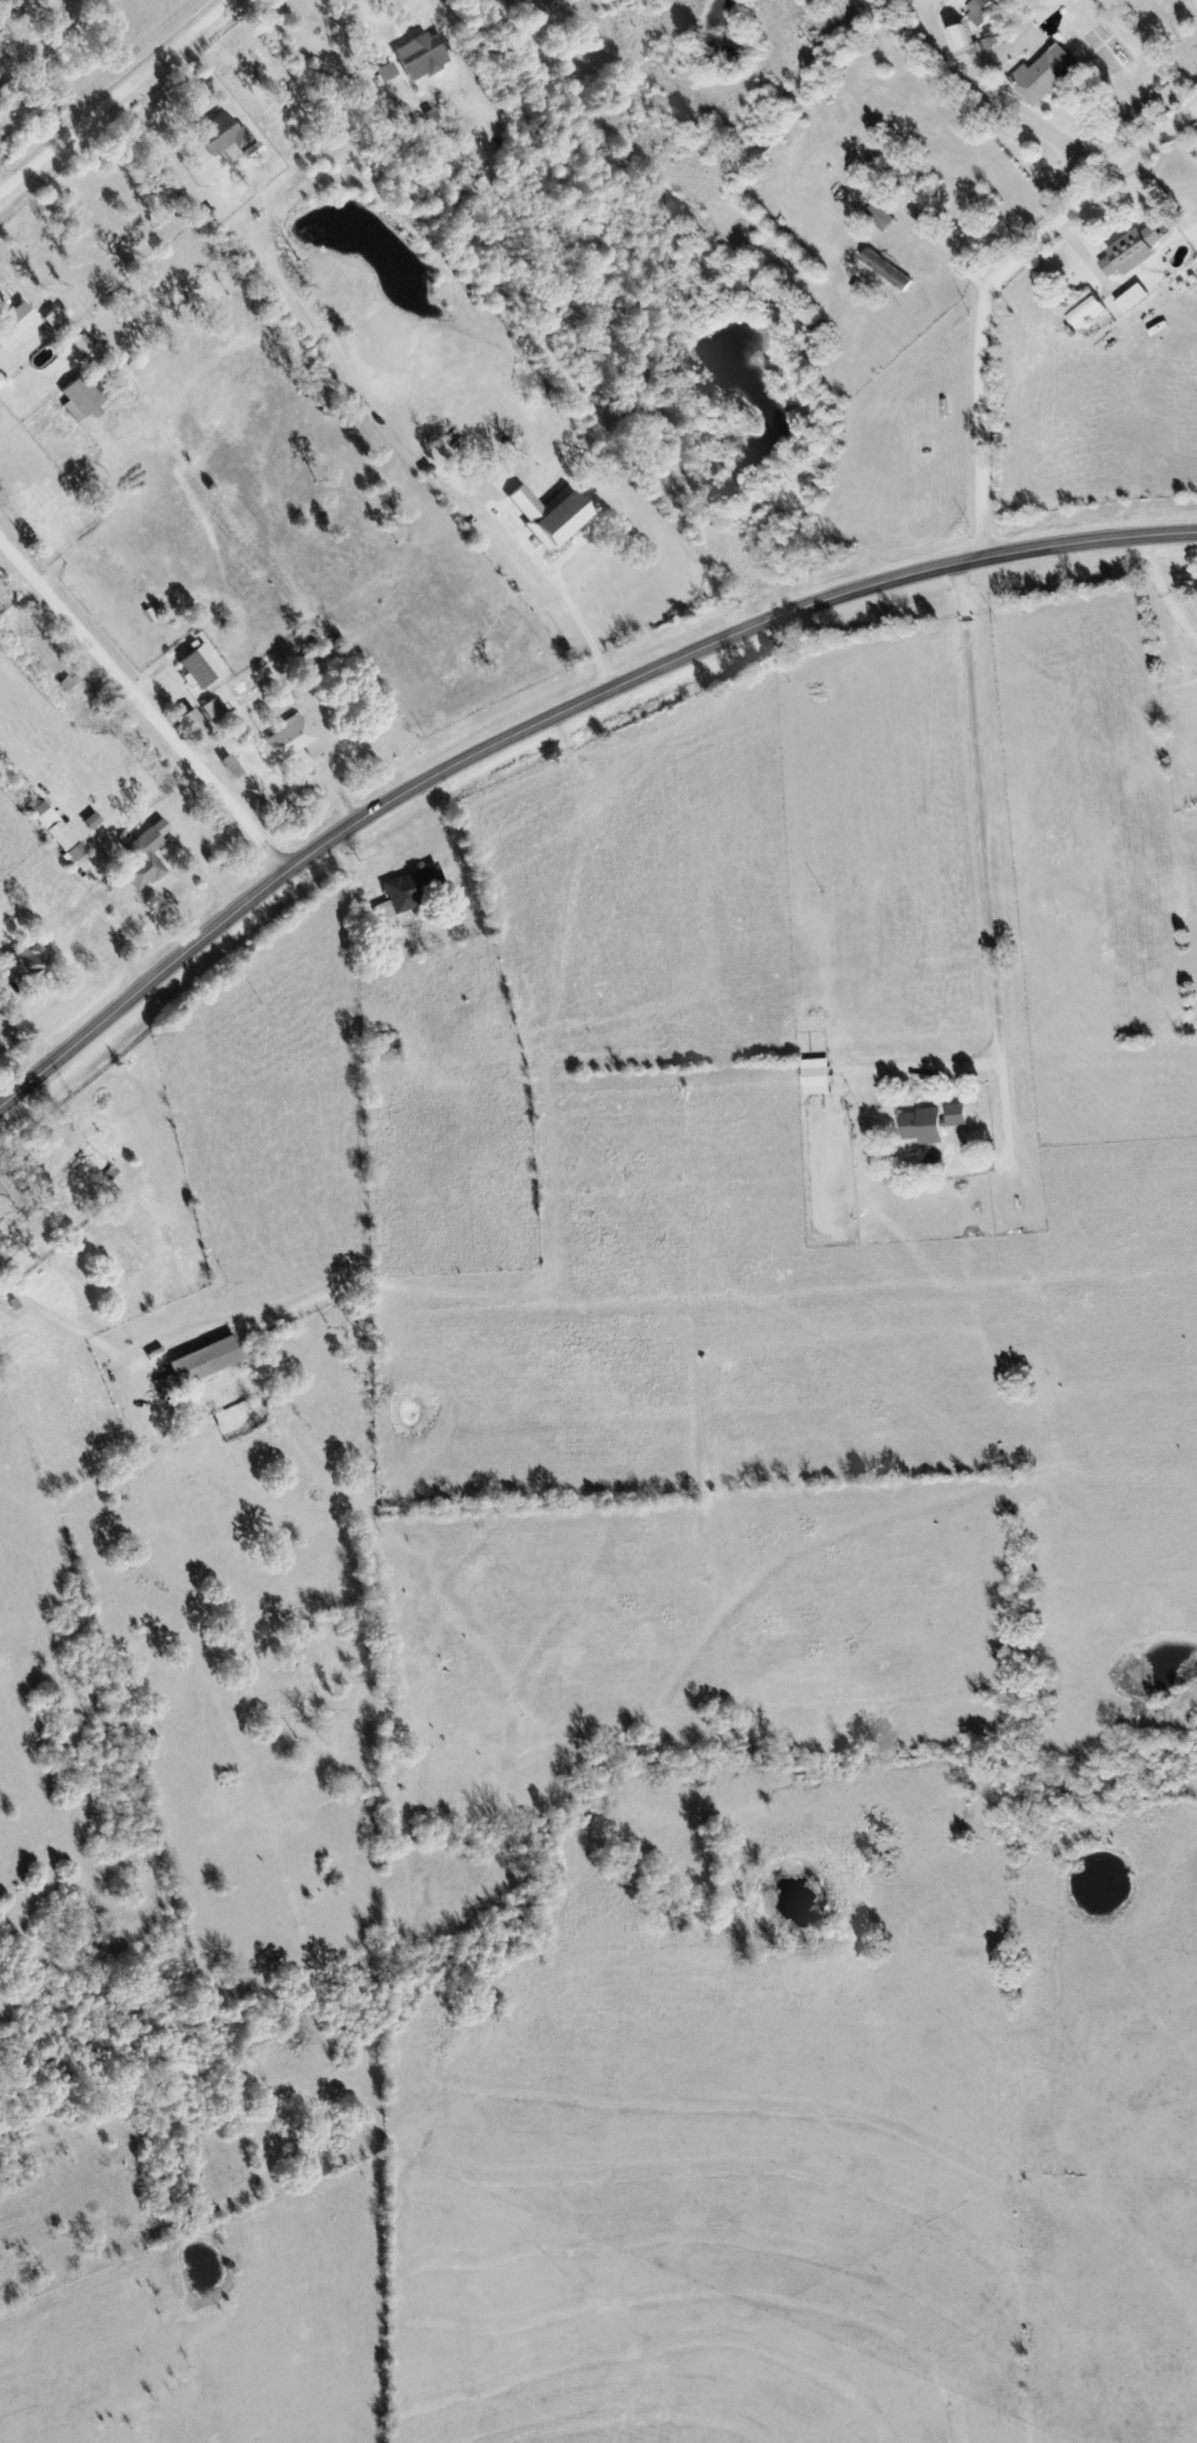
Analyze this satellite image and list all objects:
building: (958, 39)
building: (417, 52)
building: (1043, 75)
road: (116, 95)
building: (8, 98)
building: (218, 136)
building: (919, 213)
building: (878, 218)
building: (1129, 252)
building: (885, 272)
road: (991, 286)
building: (1132, 300)
building: (1083, 311)
building: (55, 321)
building: (15, 325)
building: (82, 395)
road: (143, 705)
road: (551, 716)
building: (287, 741)
building: (59, 833)
building: (144, 856)
building: (411, 890)
building: (22, 963)
building: (386, 1044)
building: (929, 1123)
building: (976, 1141)
building: (63, 1160)
building: (6, 1232)
building: (204, 1362)

